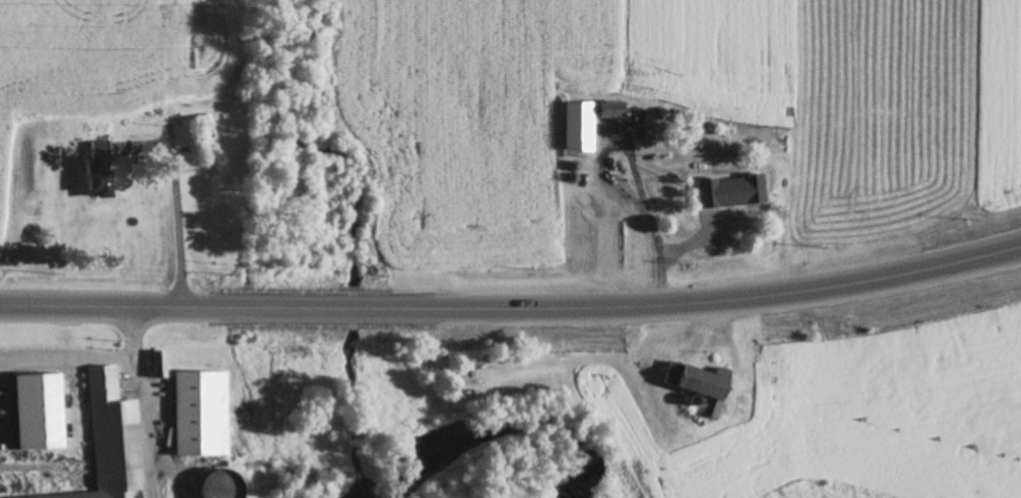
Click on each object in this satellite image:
building: (608, 110)
building: (572, 135)
building: (207, 151)
building: (97, 172)
building: (729, 191)
road: (178, 214)
road: (664, 272)
road: (513, 307)
road: (64, 329)
road: (66, 352)
building: (698, 383)
road: (139, 392)
building: (201, 414)
building: (109, 442)
river: (486, 446)
building: (218, 485)
river: (367, 496)

